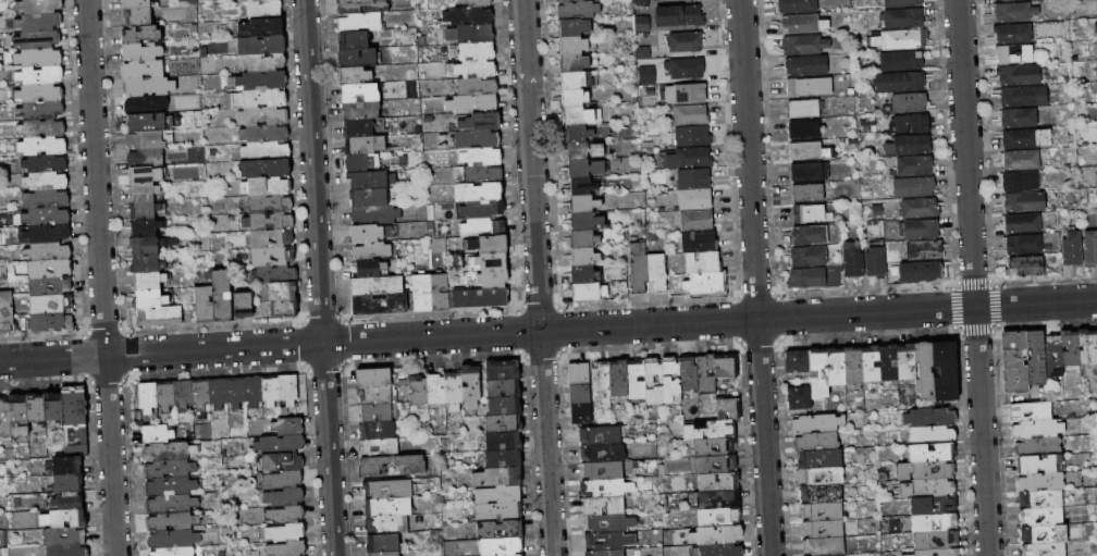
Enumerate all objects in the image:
building: (249, 0)
building: (567, 0)
building: (661, 0)
building: (996, 0)
building: (1003, 0)
building: (472, 2)
building: (135, 3)
building: (640, 3)
building: (900, 3)
building: (39, 5)
building: (792, 5)
building: (374, 7)
building: (263, 9)
building: (575, 9)
building: (1011, 12)
building: (137, 15)
building: (467, 15)
building: (678, 15)
building: (902, 17)
building: (358, 21)
building: (39, 22)
building: (641, 24)
building: (801, 24)
building: (261, 26)
building: (570, 26)
building: (1095, 28)
building: (469, 33)
building: (138, 34)
building: (1011, 34)
building: (37, 39)
building: (353, 39)
building: (900, 39)
building: (685, 41)
building: (260, 45)
building: (569, 45)
building: (802, 45)
building: (476, 50)
building: (140, 51)
building: (1011, 54)
building: (38, 57)
building: (357, 57)
building: (264, 62)
building: (899, 62)
building: (572, 63)
building: (804, 66)
building: (474, 67)
building: (141, 69)
building: (686, 69)
building: (1095, 71)
building: (40, 74)
building: (353, 74)
building: (1016, 75)
building: (261, 79)
building: (570, 81)
building: (643, 81)
building: (900, 82)
building: (476, 85)
building: (147, 86)
building: (806, 87)
building: (39, 91)
building: (359, 92)
building: (680, 94)
building: (1021, 96)
building: (258, 98)
building: (569, 98)
building: (144, 103)
building: (471, 103)
building: (909, 103)
building: (359, 109)
building: (803, 109)
building: (40, 110)
building: (262, 114)
building: (690, 114)
building: (574, 115)
building: (1016, 118)
building: (144, 121)
building: (480, 121)
building: (912, 123)
building: (40, 126)
building: (357, 126)
building: (803, 131)
building: (263, 133)
building: (575, 133)
building: (691, 136)
building: (476, 138)
building: (1023, 138)
building: (145, 139)
building: (362, 144)
building: (42, 145)
building: (908, 145)
building: (264, 150)
building: (584, 150)
building: (808, 151)
building: (480, 156)
building: (145, 158)
building: (688, 158)
building: (1019, 160)
building: (45, 162)
building: (356, 162)
road: (531, 165)
building: (913, 165)
building: (263, 168)
building: (584, 168)
building: (808, 172)
building: (481, 173)
building: (143, 174)
building: (1096, 174)
road: (95, 176)
building: (367, 178)
building: (692, 178)
building: (46, 180)
building: (1018, 181)
building: (268, 185)
building: (580, 186)
building: (912, 187)
building: (482, 190)
building: (141, 191)
building: (806, 193)
building: (367, 197)
building: (46, 198)
building: (693, 199)
building: (1021, 201)
building: (269, 202)
building: (582, 203)
building: (482, 208)
building: (919, 208)
building: (143, 209)
building: (373, 214)
building: (810, 214)
building: (46, 215)
building: (584, 220)
building: (694, 220)
building: (270, 221)
building: (1020, 223)
building: (145, 226)
building: (482, 226)
building: (921, 230)
building: (47, 233)
building: (363, 233)
building: (805, 235)
building: (650, 237)
building: (582, 238)
building: (0, 239)
building: (283, 239)
building: (698, 240)
building: (486, 244)
building: (1021, 244)
building: (149, 245)
building: (1089, 249)
building: (48, 250)
building: (371, 250)
building: (924, 250)
building: (1071, 250)
building: (260, 256)
building: (583, 256)
building: (806, 257)
building: (490, 260)
building: (702, 262)
building: (851, 262)
building: (145, 263)
building: (874, 263)
building: (1023, 265)
building: (369, 267)
building: (37, 269)
building: (638, 269)
building: (925, 271)
building: (273, 273)
building: (655, 273)
building: (582, 274)
building: (812, 276)
road: (319, 277)
building: (491, 277)
road: (754, 277)
road: (973, 277)
building: (147, 280)
building: (704, 283)
building: (377, 285)
building: (38, 286)
building: (282, 289)
building: (437, 291)
building: (586, 291)
building: (623, 291)
building: (420, 292)
building: (220, 294)
building: (479, 297)
building: (148, 298)
building: (51, 302)
building: (202, 304)
building: (379, 304)
building: (242, 305)
building: (188, 307)
building: (283, 308)
building: (5, 311)
road: (818, 314)
building: (158, 316)
building: (51, 321)
building: (1096, 339)
road: (322, 343)
building: (1086, 346)
building: (1068, 347)
building: (1051, 355)
road: (52, 357)
building: (1034, 357)
building: (904, 361)
building: (797, 362)
building: (887, 362)
building: (1012, 362)
building: (870, 363)
building: (726, 366)
building: (851, 366)
building: (834, 367)
building: (923, 369)
building: (501, 370)
building: (944, 370)
building: (816, 373)
building: (578, 374)
building: (688, 374)
building: (705, 374)
building: (600, 375)
building: (372, 378)
building: (617, 379)
building: (634, 379)
building: (653, 381)
building: (671, 381)
building: (469, 386)
building: (502, 387)
building: (286, 388)
building: (269, 390)
building: (416, 390)
building: (434, 390)
building: (452, 391)
building: (235, 392)
building: (251, 392)
building: (218, 393)
building: (199, 394)
building: (579, 394)
building: (182, 395)
building: (372, 395)
building: (164, 396)
building: (147, 397)
building: (798, 398)
building: (502, 406)
building: (36, 407)
building: (53, 407)
building: (727, 407)
building: (1028, 411)
building: (283, 412)
building: (372, 412)
building: (74, 413)
building: (581, 413)
building: (17, 415)
building: (929, 417)
building: (4, 418)
building: (813, 422)
building: (501, 423)
building: (287, 427)
building: (1034, 429)
building: (375, 430)
building: (707, 430)
building: (155, 433)
building: (930, 434)
building: (600, 436)
building: (501, 441)
building: (814, 441)
road: (546, 443)
building: (279, 445)
building: (1036, 446)
building: (378, 447)
building: (702, 447)
building: (75, 450)
building: (165, 452)
building: (602, 453)
building: (929, 453)
road: (110, 455)
building: (501, 458)
building: (819, 459)
building: (282, 461)
building: (392, 464)
building: (1034, 464)
building: (66, 465)
building: (702, 465)
building: (168, 469)
building: (924, 470)
building: (600, 471)
building: (818, 475)
building: (495, 477)
building: (282, 480)
building: (1038, 481)
building: (67, 482)
building: (717, 482)
building: (169, 486)
building: (932, 487)
building: (386, 489)
building: (620, 489)
building: (819, 493)
building: (496, 494)
building: (283, 497)
building: (1038, 499)
building: (718, 501)
building: (69, 502)
building: (170, 504)
building: (932, 505)
building: (603, 506)
building: (386, 507)
building: (497, 511)
building: (819, 511)
building: (284, 515)
building: (1039, 516)
building: (63, 518)
building: (706, 518)
building: (171, 521)
building: (933, 522)
building: (607, 523)
building: (385, 526)
building: (498, 529)
building: (821, 529)
building: (285, 533)
building: (1041, 534)
building: (76, 535)
building: (715, 535)
building: (172, 539)
building: (608, 541)
building: (934, 541)
building: (381, 543)
building: (501, 546)
building: (822, 546)
building: (286, 548)
building: (67, 549)
building: (720, 549)
building: (1041, 549)
building: (171, 552)
building: (605, 553)
building: (935, 553)
building: (383, 554)
building: (515, 555)
building: (835, 555)

